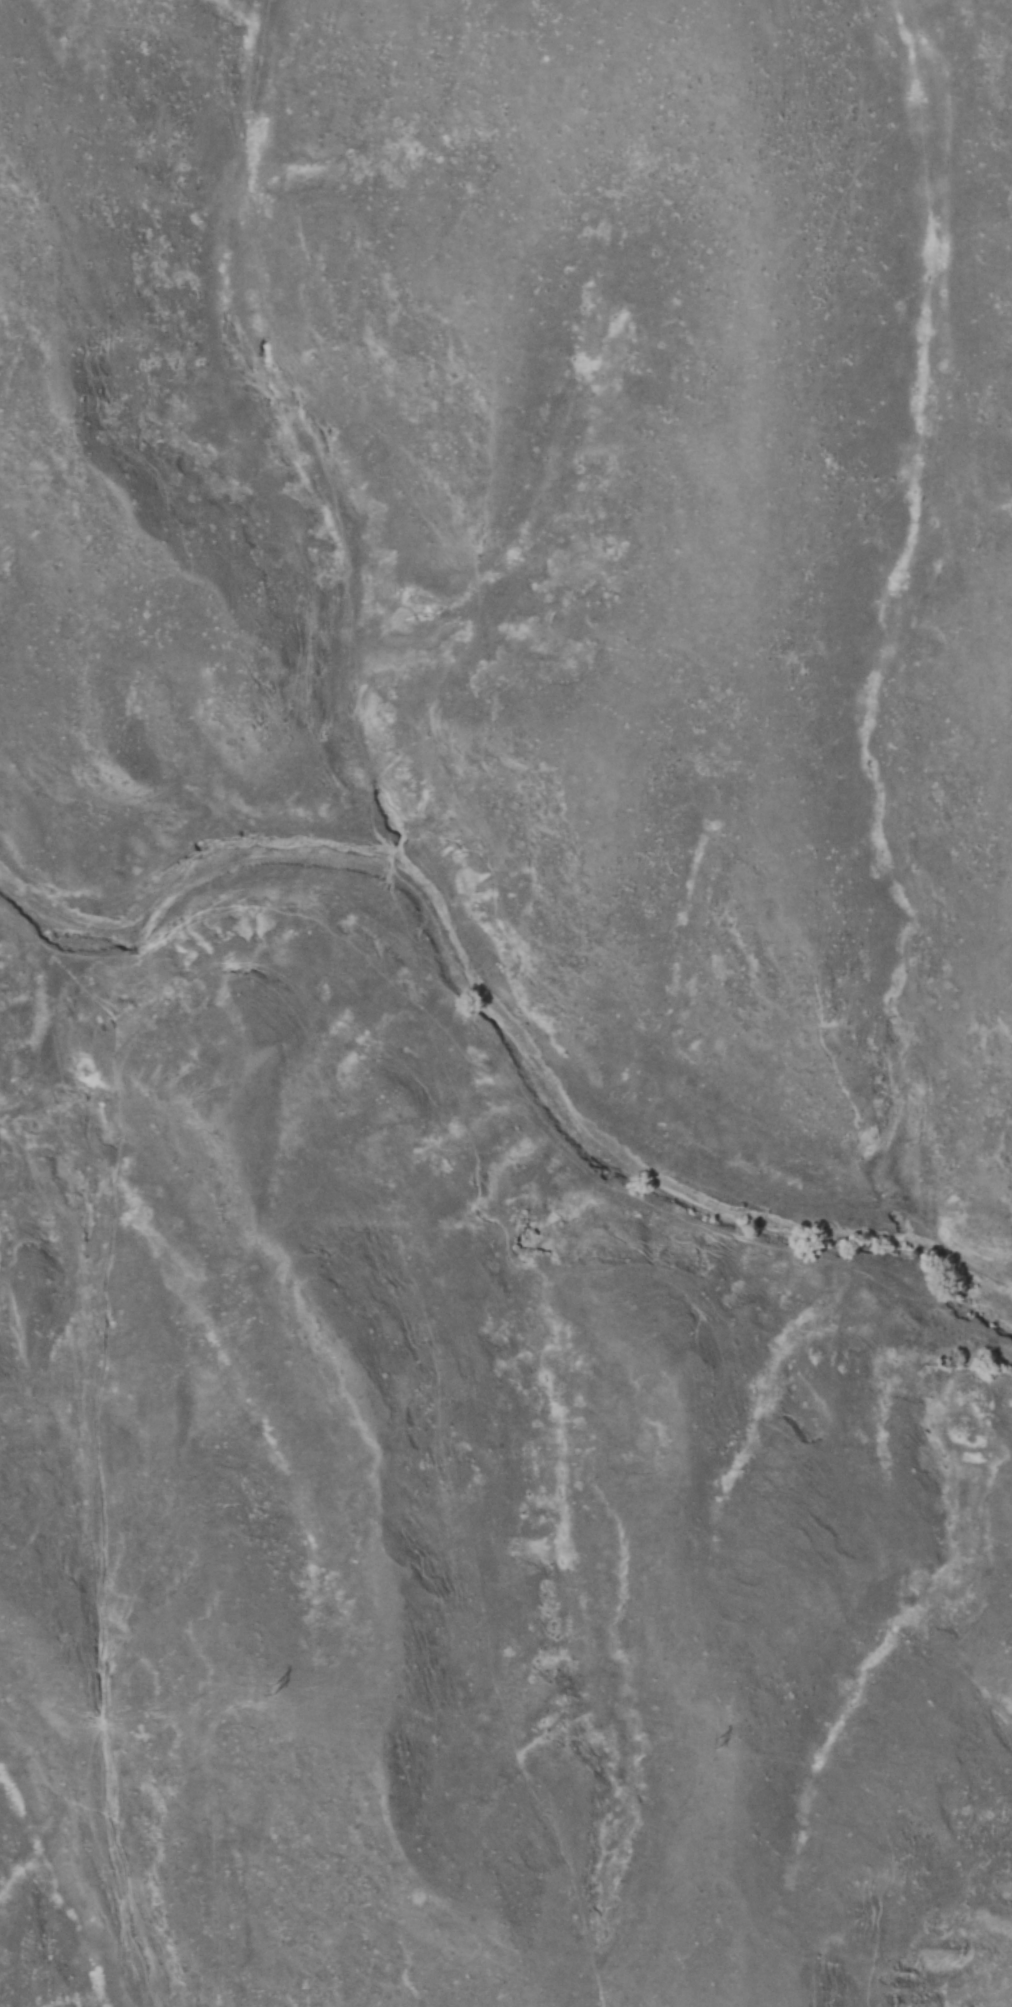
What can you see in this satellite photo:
power tower: (275, 1690)
power tower: (718, 1743)

